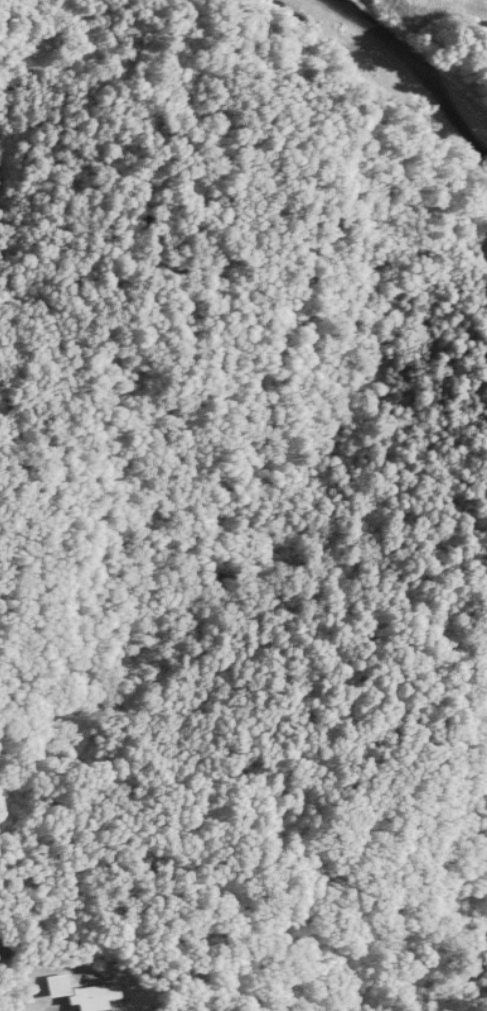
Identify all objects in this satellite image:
building: (77, 994)
road: (8, 1007)

